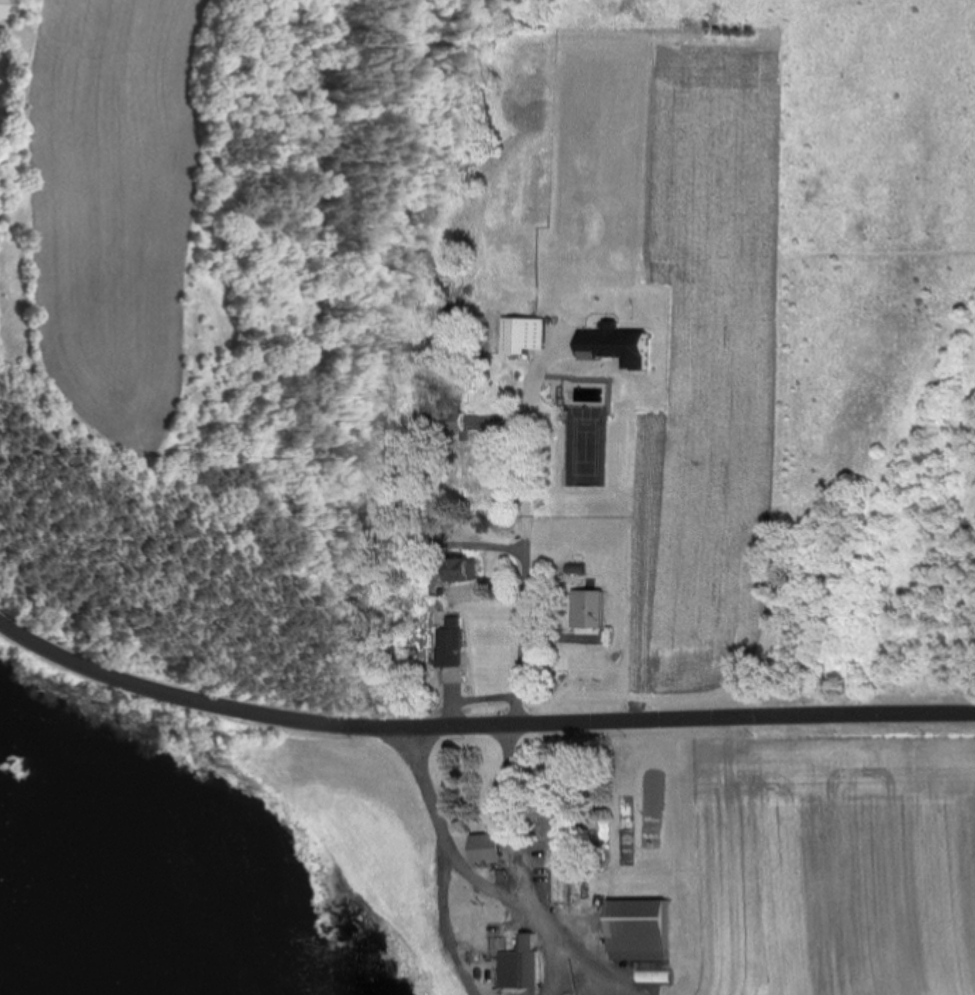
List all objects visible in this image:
building: (1, 9)
building: (522, 335)
building: (449, 416)
building: (469, 466)
building: (461, 570)
road: (529, 571)
building: (570, 615)
building: (450, 643)
road: (476, 721)
building: (553, 825)
road: (447, 837)
building: (489, 850)
road: (526, 863)
building: (561, 885)
road: (446, 920)
building: (639, 930)
building: (523, 965)
road: (598, 966)

